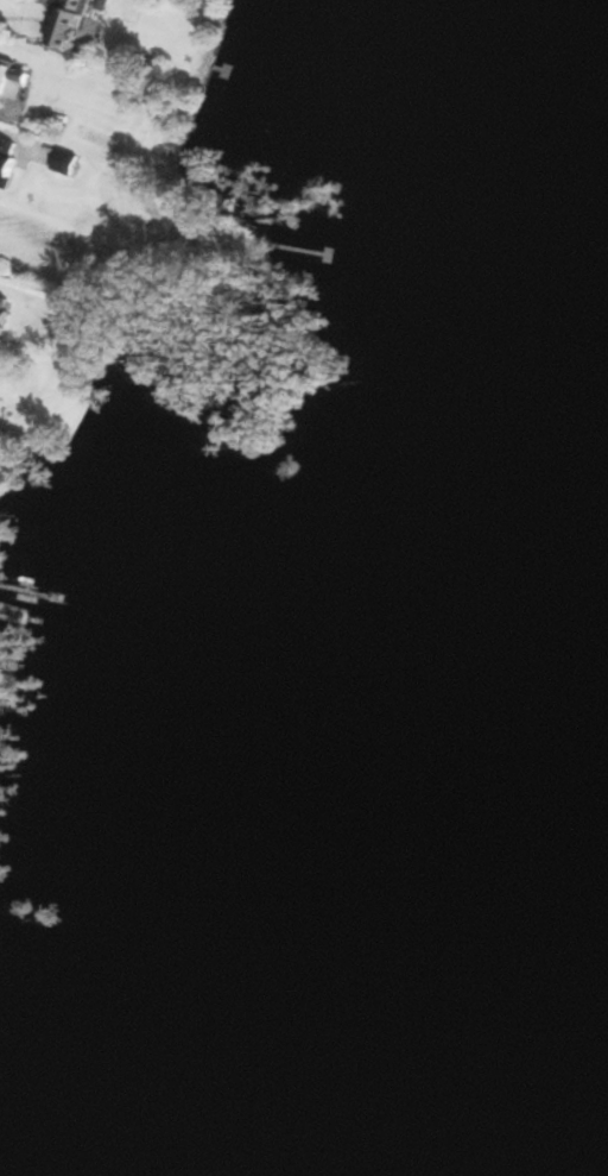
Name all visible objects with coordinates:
building: (71, 23)
building: (223, 71)
building: (13, 81)
building: (69, 163)
building: (8, 164)
building: (5, 309)

